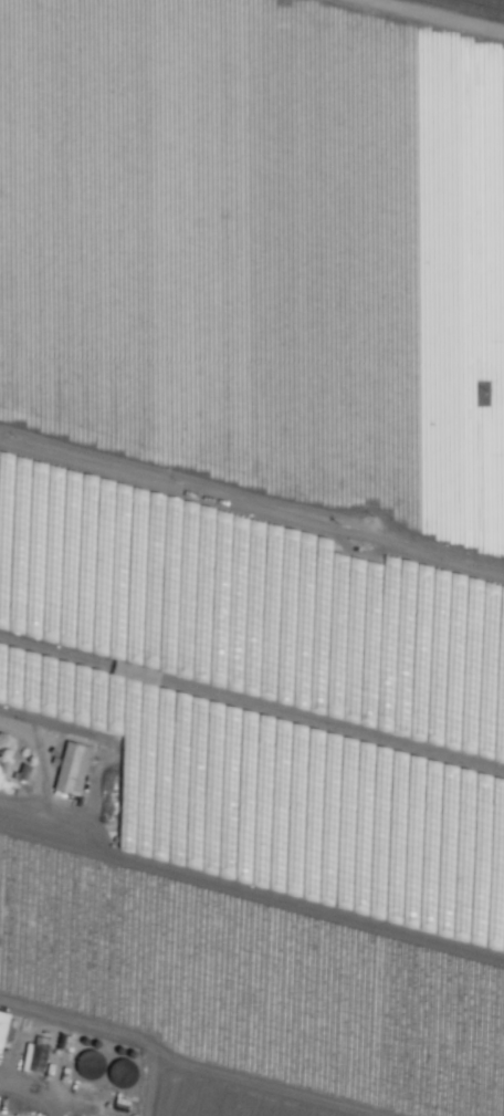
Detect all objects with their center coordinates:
railway: (492, 2)
railway: (469, 8)
crop: (250, 561)
building: (71, 768)
building: (2, 1024)
building: (39, 1050)
road: (211, 1061)
building: (90, 1064)
road: (144, 1080)

